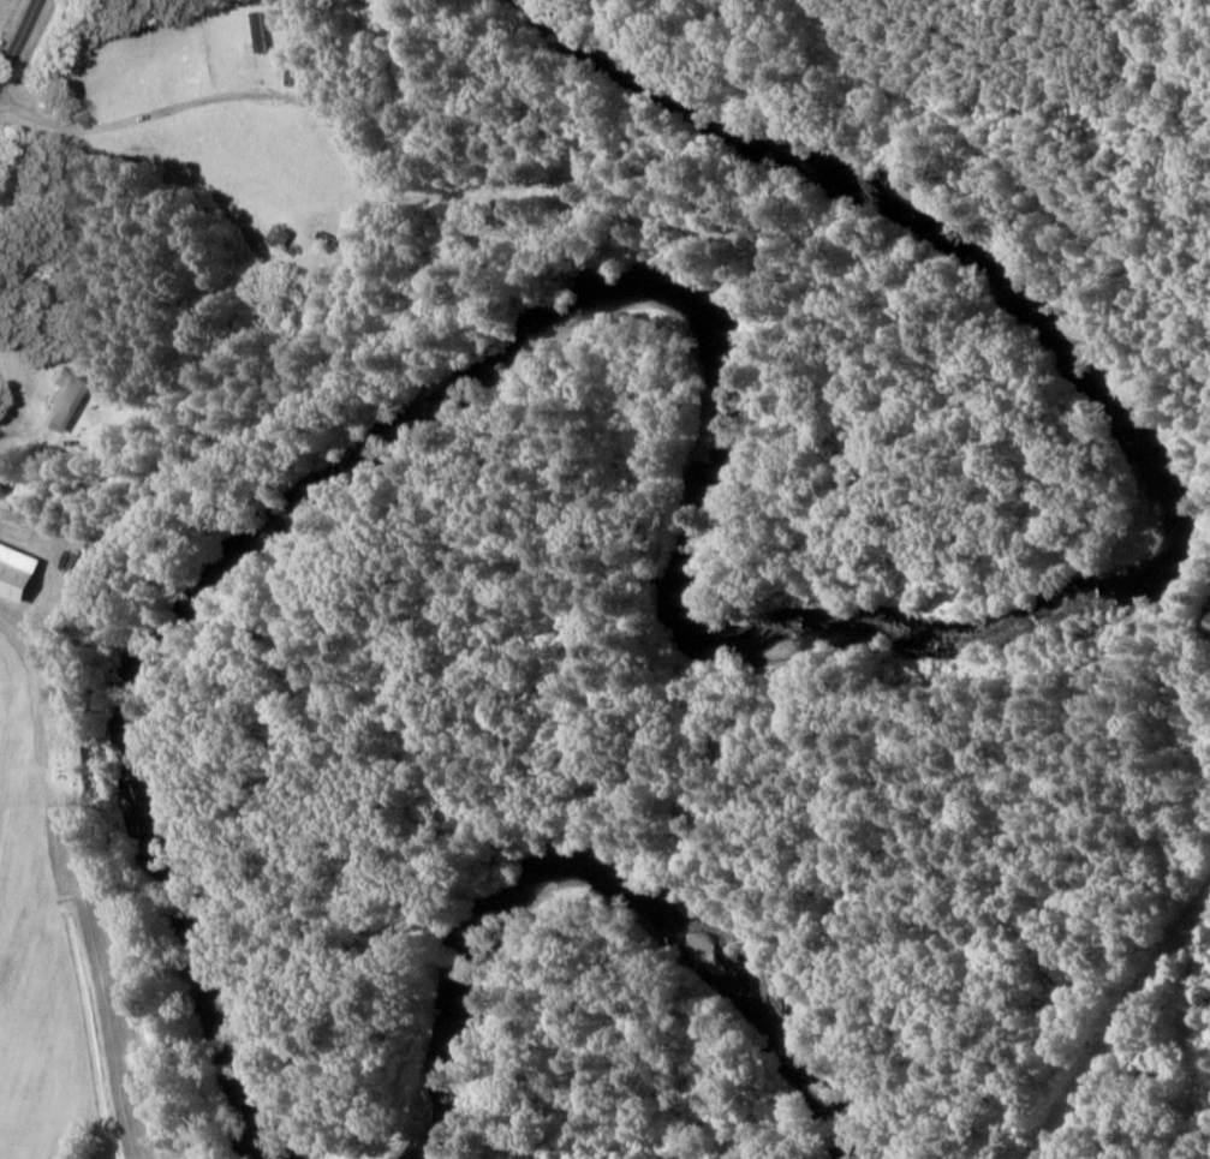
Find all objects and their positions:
building: (264, 30)
road: (25, 65)
building: (70, 398)
building: (20, 572)
building: (1204, 620)

